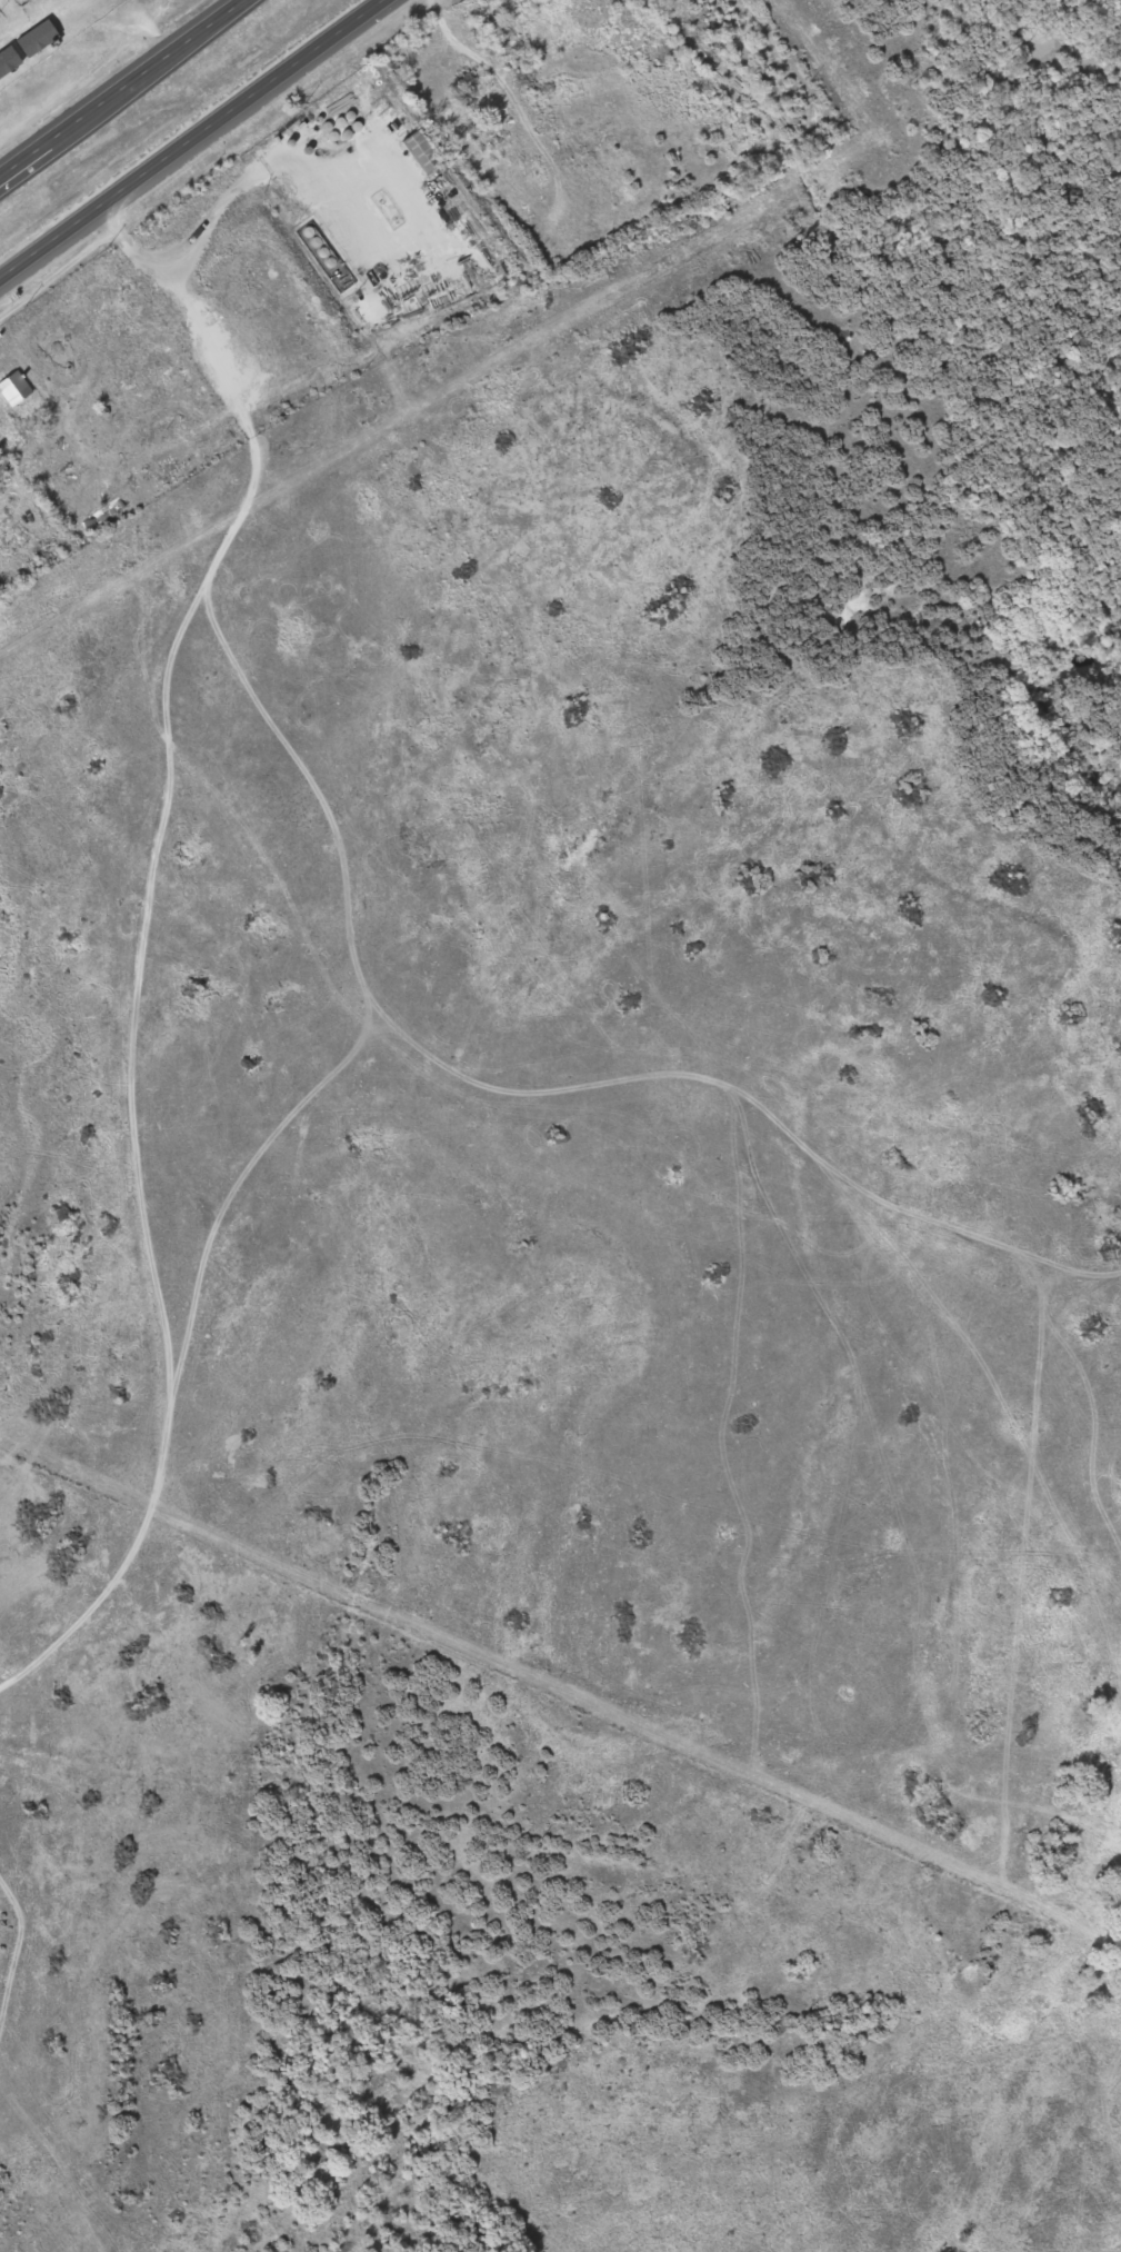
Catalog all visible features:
building: (26, 2)
road: (53, 11)
building: (26, 47)
road: (123, 88)
road: (192, 140)
road: (374, 147)
building: (427, 153)
building: (17, 389)
building: (104, 515)
road: (137, 989)

